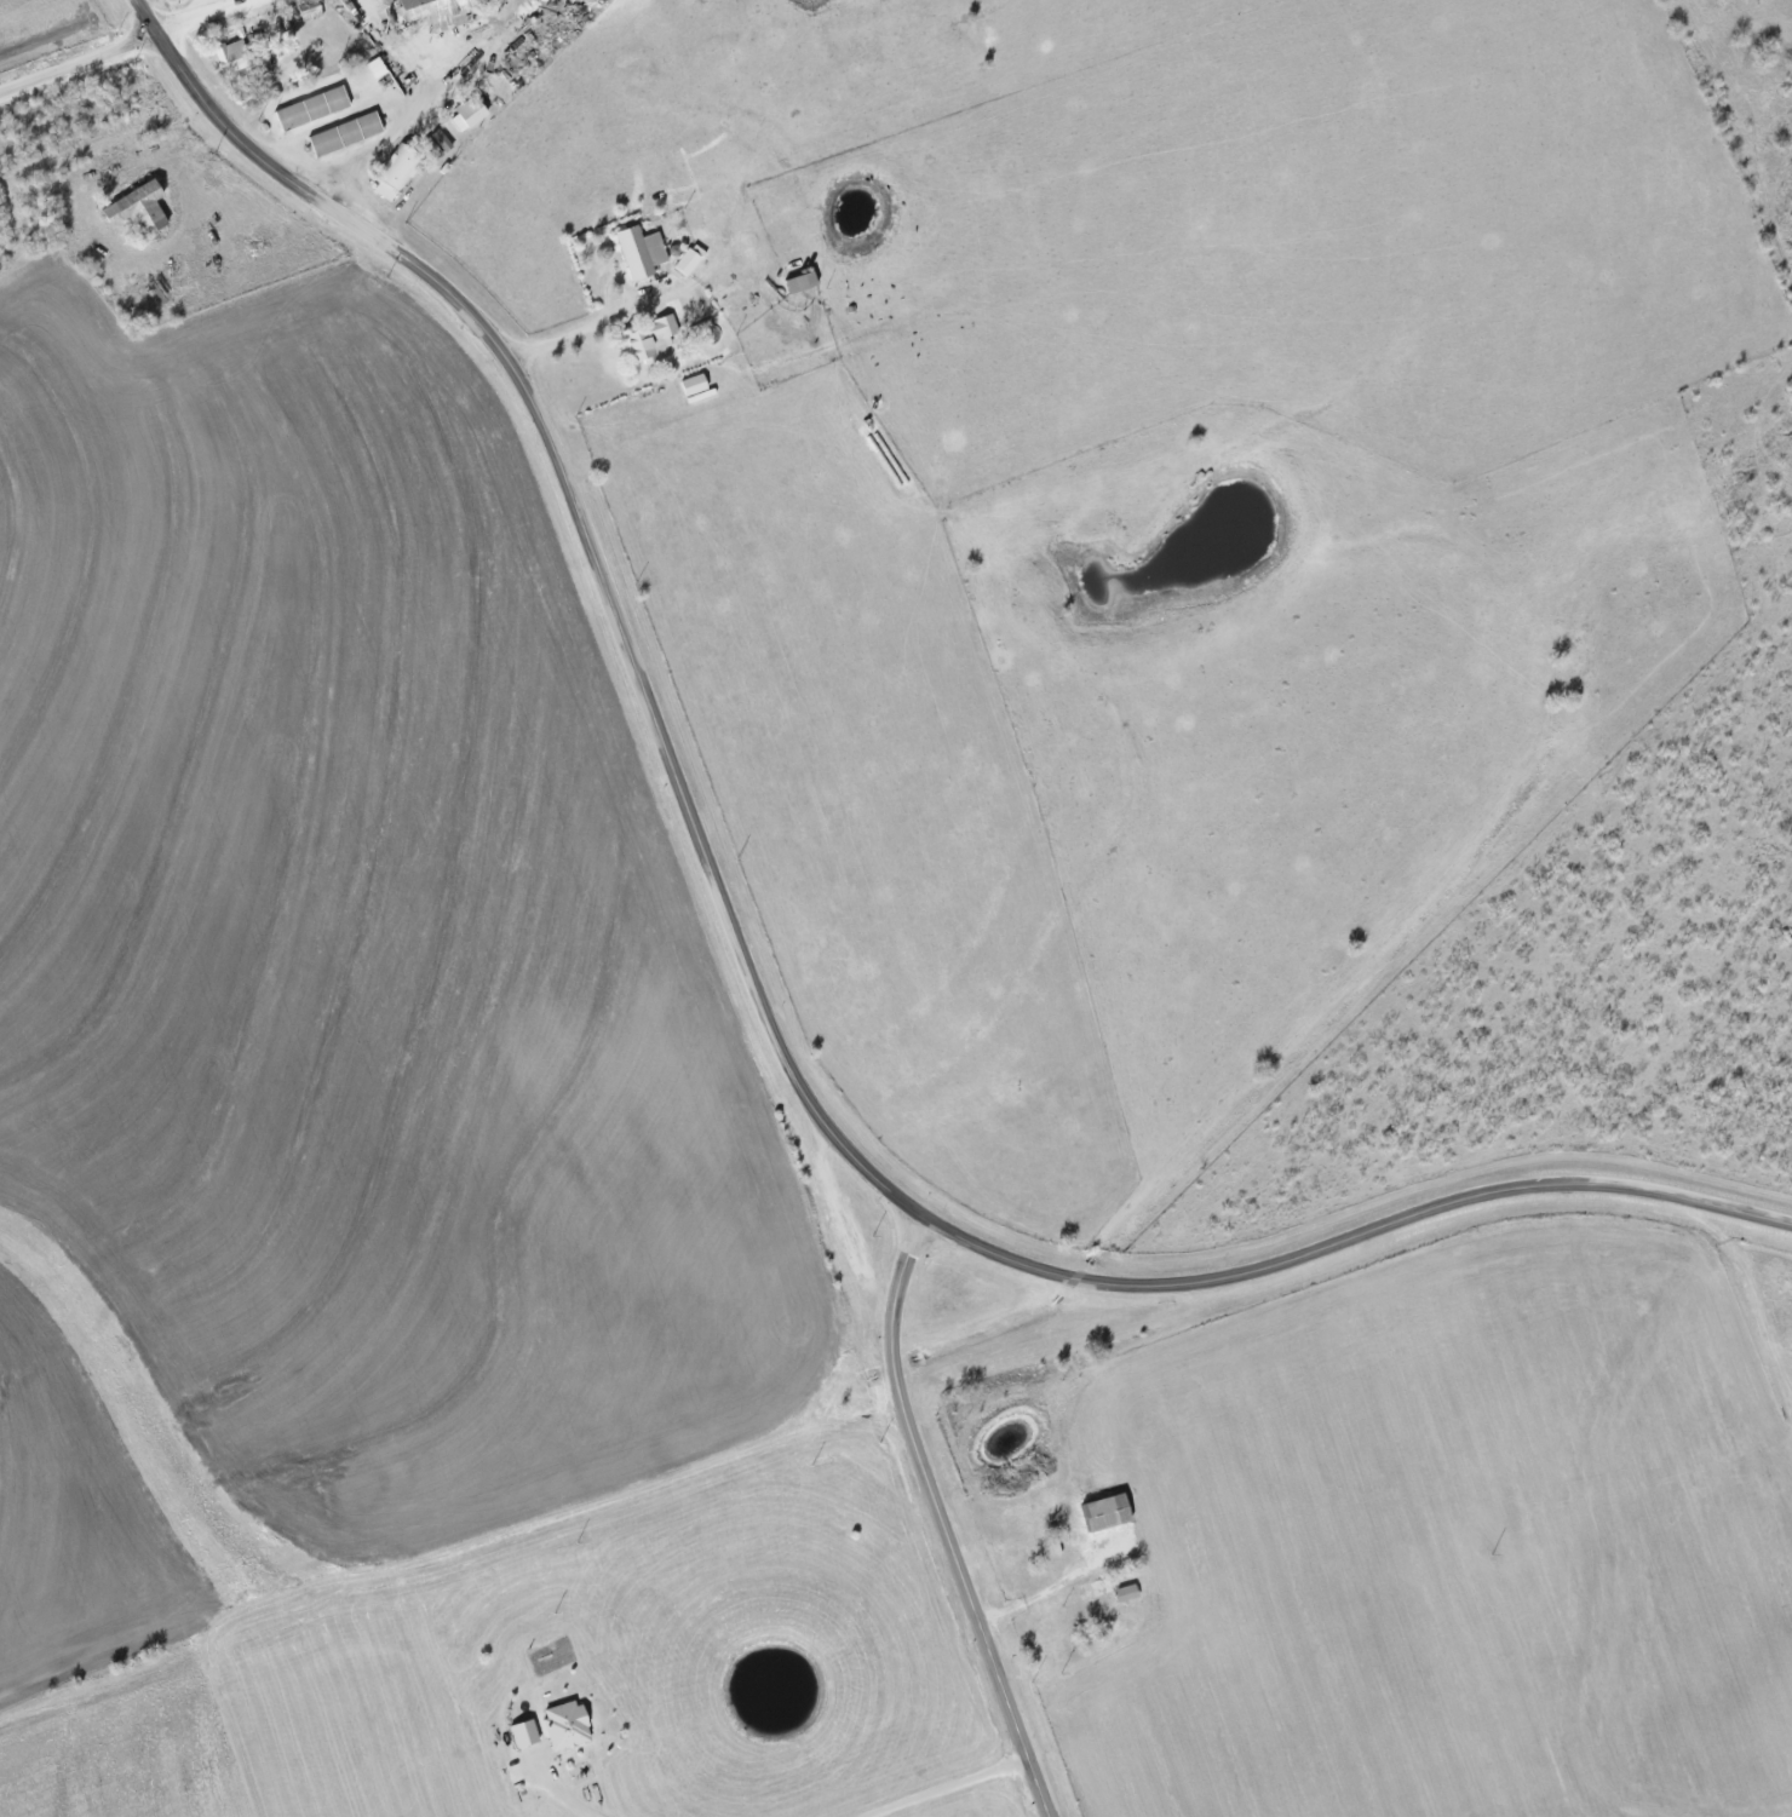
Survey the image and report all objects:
road: (208, 5)
building: (435, 10)
road: (121, 47)
building: (232, 56)
building: (312, 109)
building: (469, 114)
building: (345, 134)
building: (442, 140)
building: (396, 173)
building: (138, 207)
building: (641, 251)
building: (690, 259)
building: (800, 282)
road: (595, 324)
building: (649, 340)
road: (596, 558)
road: (1352, 1237)
road: (932, 1487)
building: (1107, 1512)
building: (567, 1725)
road: (1038, 1786)
road: (948, 1788)
road: (569, 1800)

